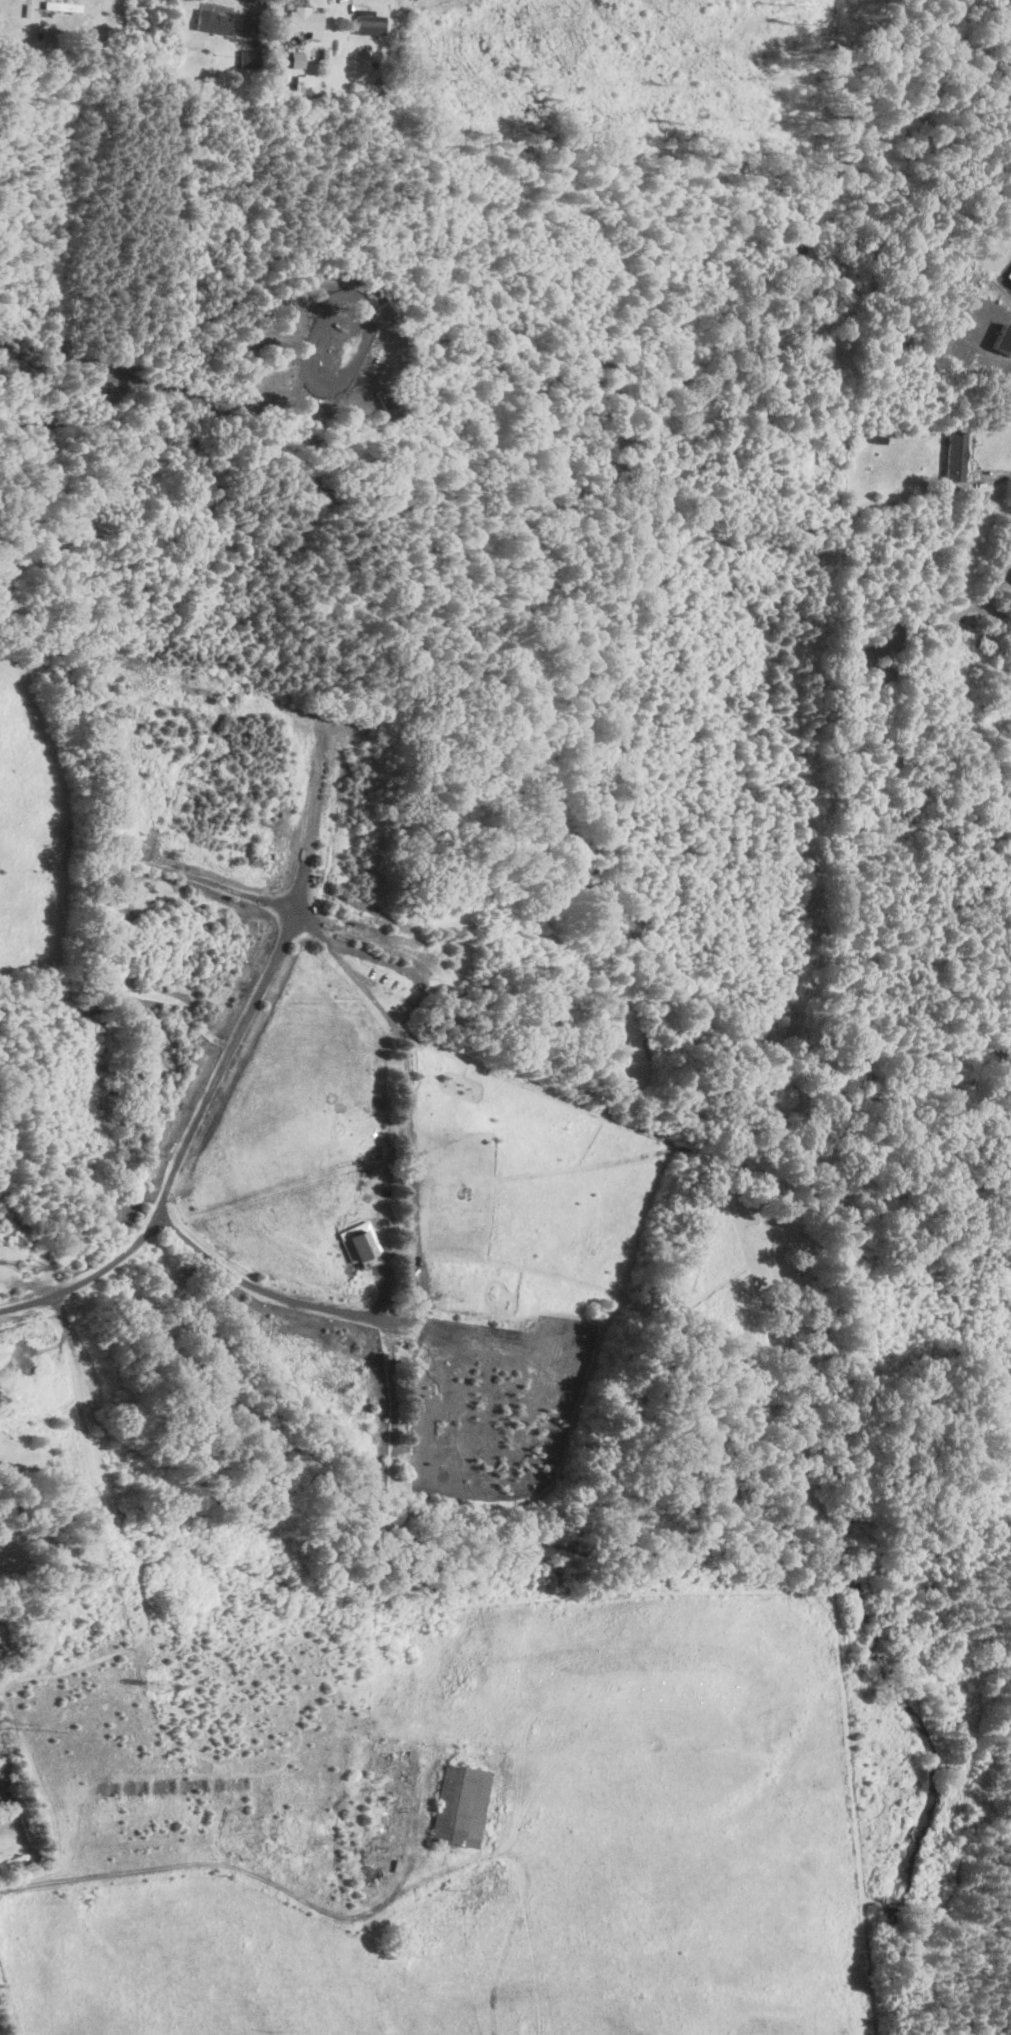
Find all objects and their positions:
building: (302, 20)
building: (212, 22)
building: (364, 22)
building: (295, 59)
building: (302, 83)
building: (951, 455)
road: (993, 478)
road: (232, 893)
road: (354, 929)
road: (216, 1065)
road: (401, 1085)
building: (356, 1239)
power tower: (29, 1264)
road: (407, 1283)
road: (336, 1312)
road: (555, 1595)
power tower: (162, 1687)
road: (52, 1717)
power tower: (27, 1726)
road: (283, 1732)
road: (485, 1758)
road: (854, 1775)
building: (452, 1810)
building: (268, 1822)
building: (293, 1834)
crop: (535, 1851)
building: (26, 1856)
building: (153, 1861)
road: (207, 1862)
road: (9, 2003)

